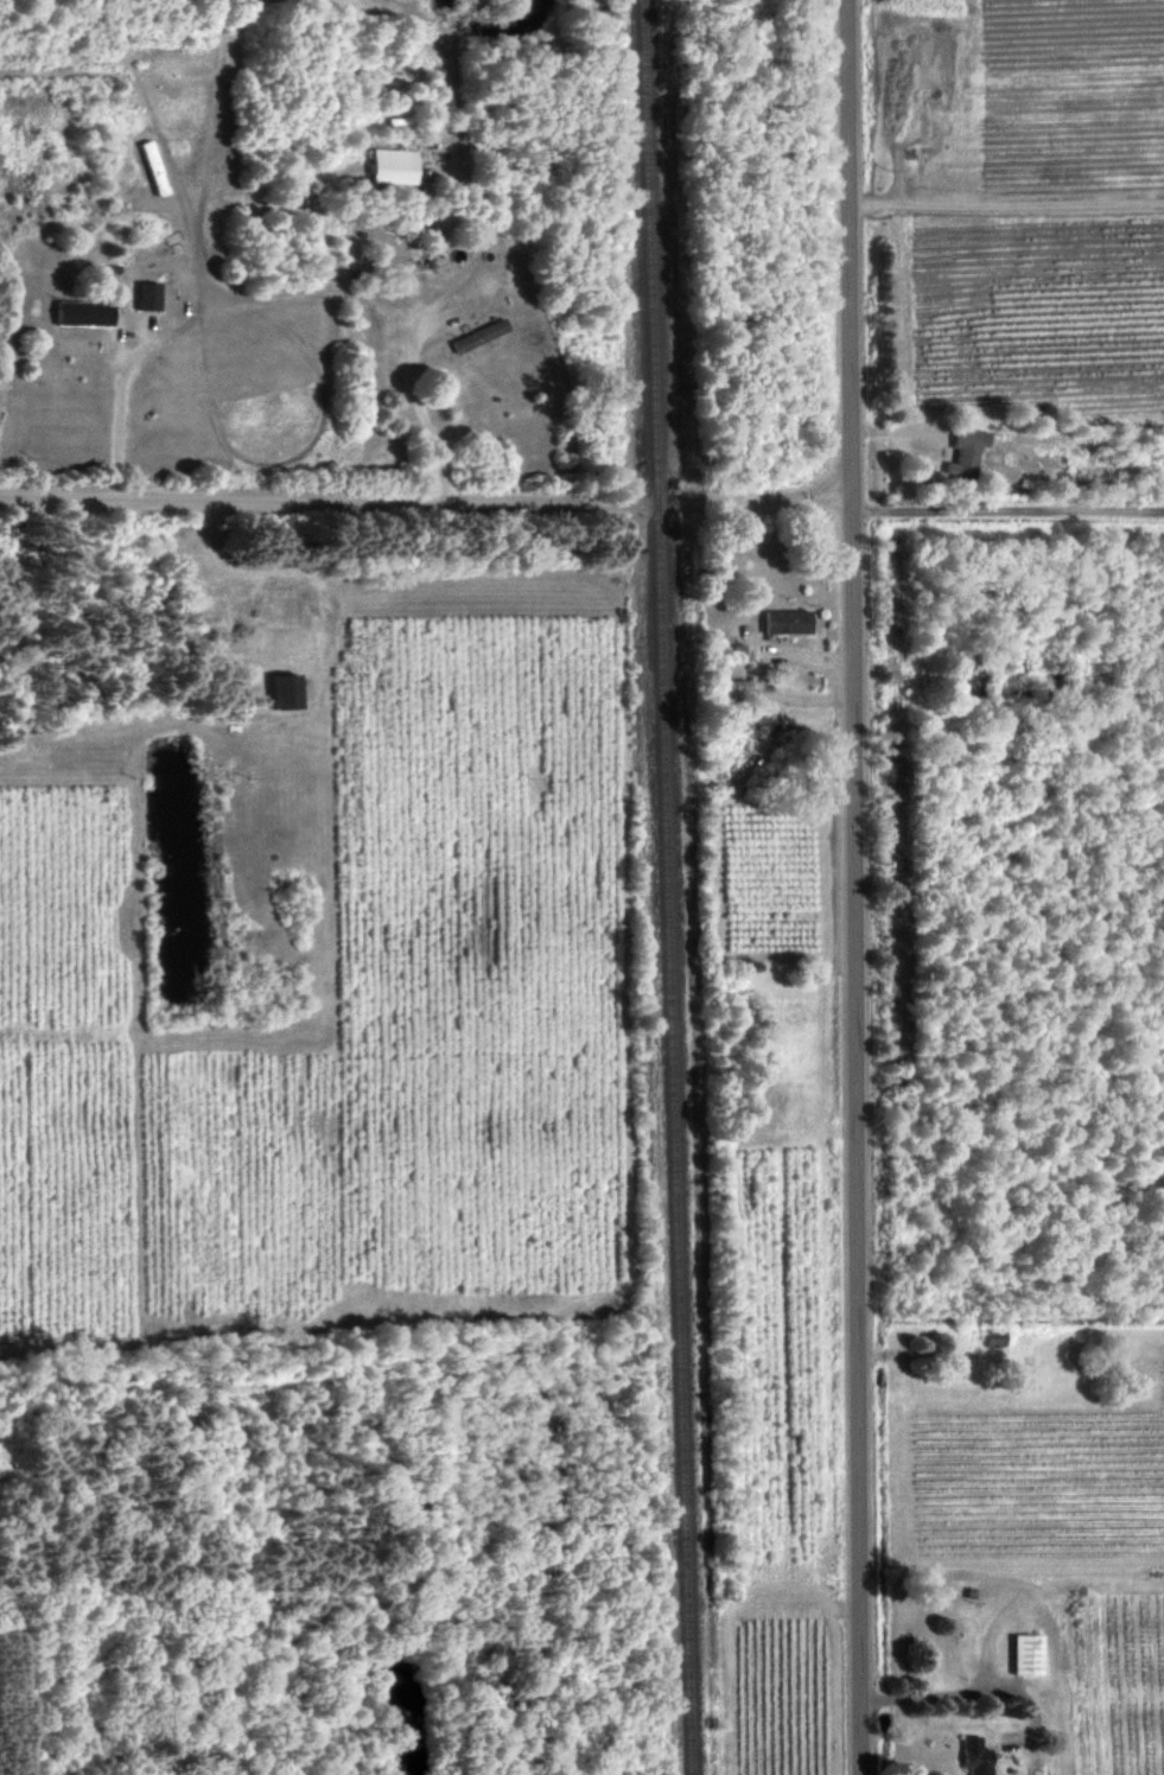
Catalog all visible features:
building: (393, 165)
building: (150, 294)
road: (425, 310)
building: (84, 312)
building: (478, 333)
road: (122, 430)
building: (966, 451)
road: (425, 503)
road: (1006, 510)
building: (785, 621)
building: (288, 689)
railway: (666, 886)
road: (852, 886)
building: (1029, 1654)
building: (975, 1756)

